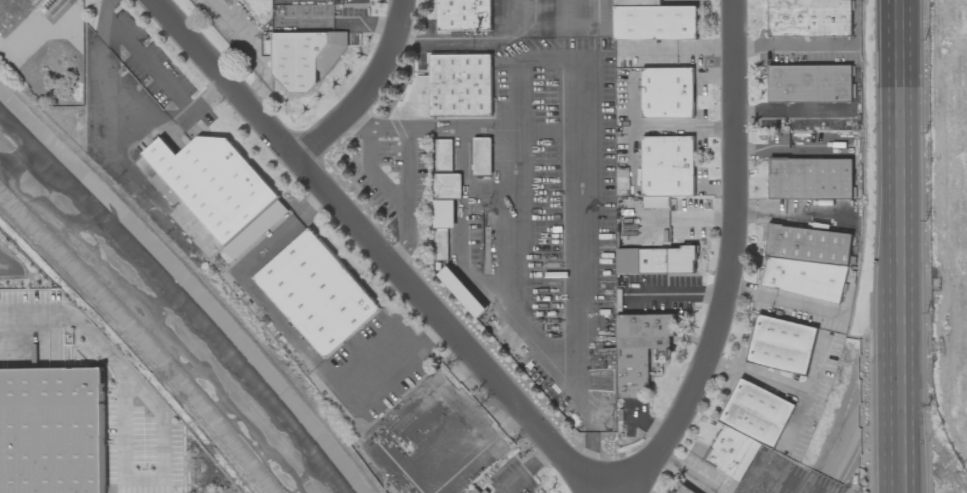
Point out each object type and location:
building: (464, 15)
building: (808, 18)
building: (653, 21)
road: (234, 25)
building: (266, 43)
road: (790, 46)
road: (679, 47)
wastewater plant: (44, 49)
road: (159, 72)
building: (810, 84)
building: (451, 87)
road: (365, 92)
building: (667, 93)
road: (784, 113)
road: (358, 120)
road: (682, 128)
road: (576, 139)
road: (787, 149)
road: (899, 152)
building: (443, 154)
building: (482, 156)
building: (666, 169)
building: (810, 178)
building: (212, 183)
building: (447, 186)
road: (391, 200)
building: (628, 208)
road: (788, 213)
building: (442, 227)
building: (255, 230)
road: (874, 246)
road: (921, 246)
road: (374, 250)
building: (667, 260)
building: (806, 262)
road: (728, 263)
road: (474, 279)
road: (678, 291)
building: (317, 293)
road: (779, 301)
road: (293, 341)
building: (781, 345)
building: (639, 349)
road: (118, 362)
road: (782, 381)
road: (901, 399)
road: (794, 418)
building: (747, 428)
building: (51, 431)
road: (527, 471)
road: (689, 473)
building: (682, 490)
building: (474, 491)
road: (598, 491)

